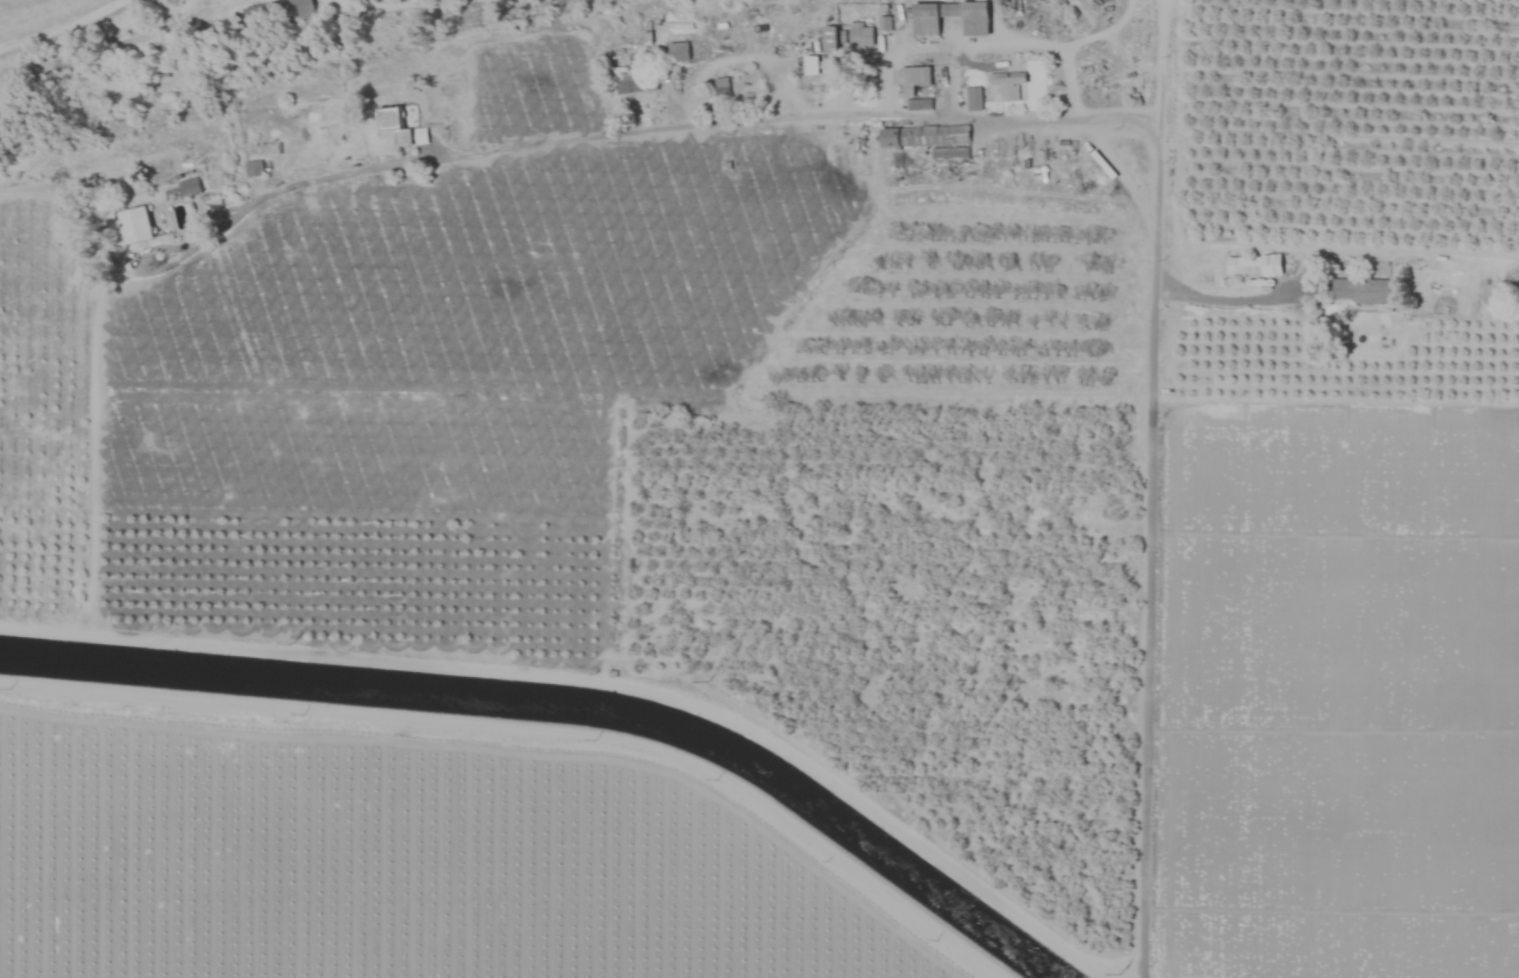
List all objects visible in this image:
road: (361, 0)
road: (1160, 5)
building: (276, 12)
crop: (53, 18)
building: (975, 26)
building: (860, 35)
building: (830, 39)
road: (1013, 41)
building: (630, 49)
building: (678, 51)
building: (810, 65)
building: (634, 83)
building: (1007, 84)
building: (721, 86)
building: (916, 87)
building: (973, 99)
building: (393, 125)
road: (648, 130)
building: (924, 136)
crop: (695, 139)
road: (1155, 144)
road: (1090, 145)
building: (260, 167)
building: (188, 187)
building: (136, 225)
building: (1252, 266)
building: (1362, 291)
road: (1222, 300)
road: (1151, 635)

